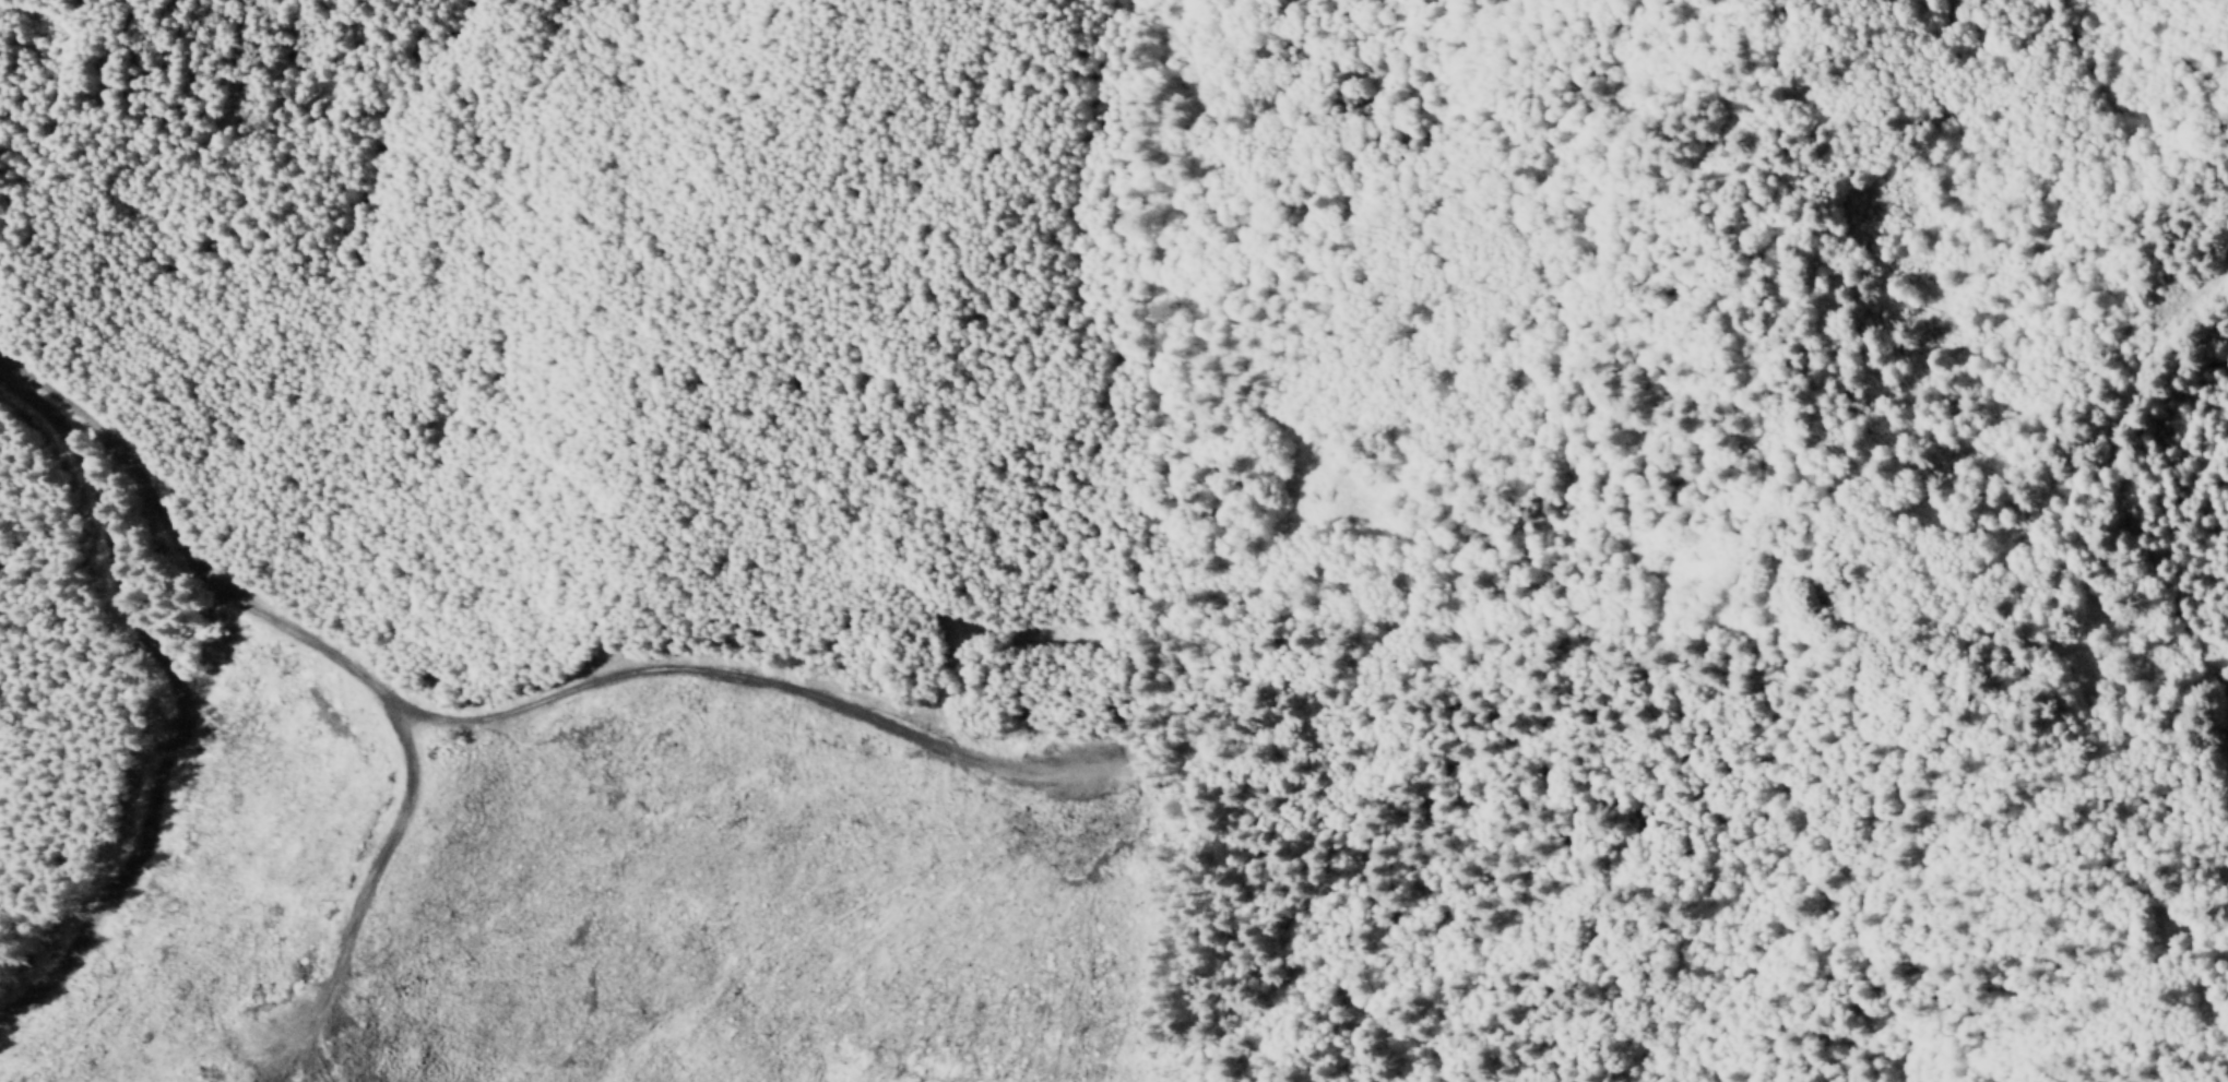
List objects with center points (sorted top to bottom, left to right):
road: (162, 753)

